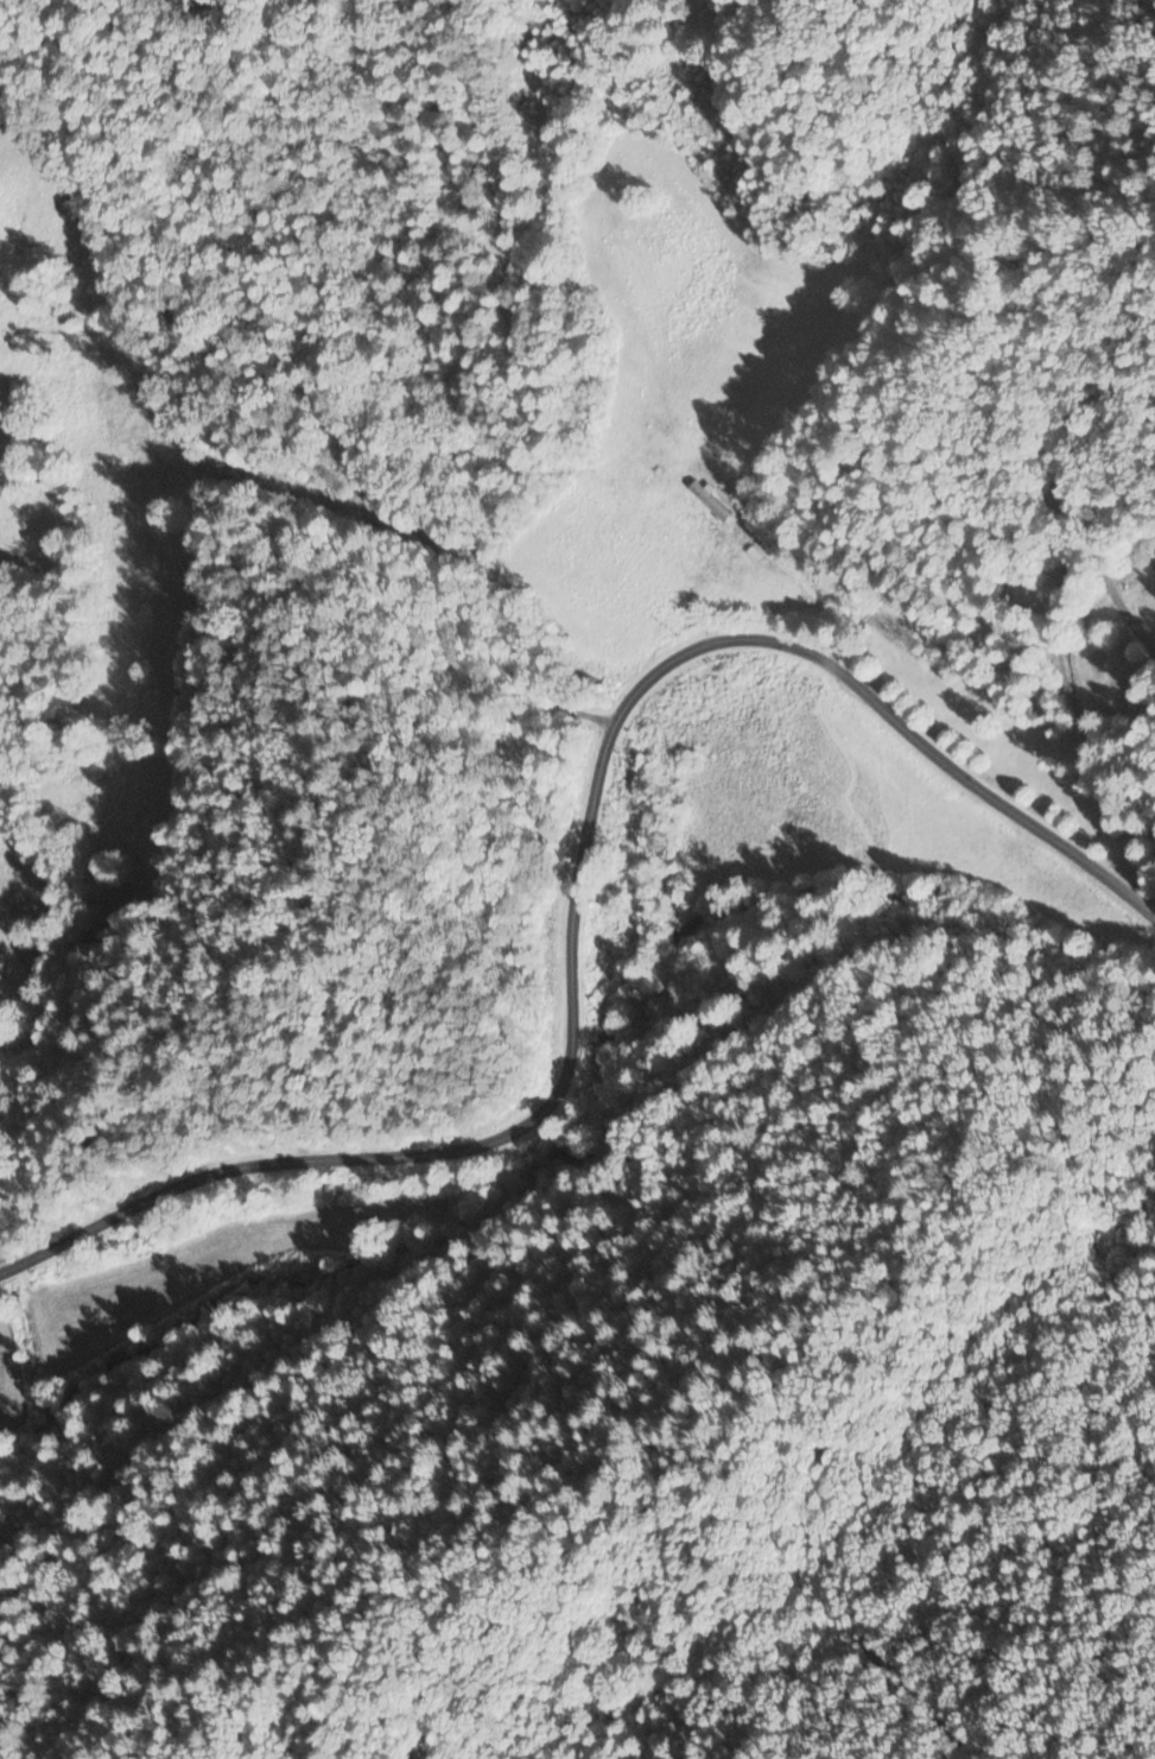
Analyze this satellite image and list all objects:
road: (575, 872)

